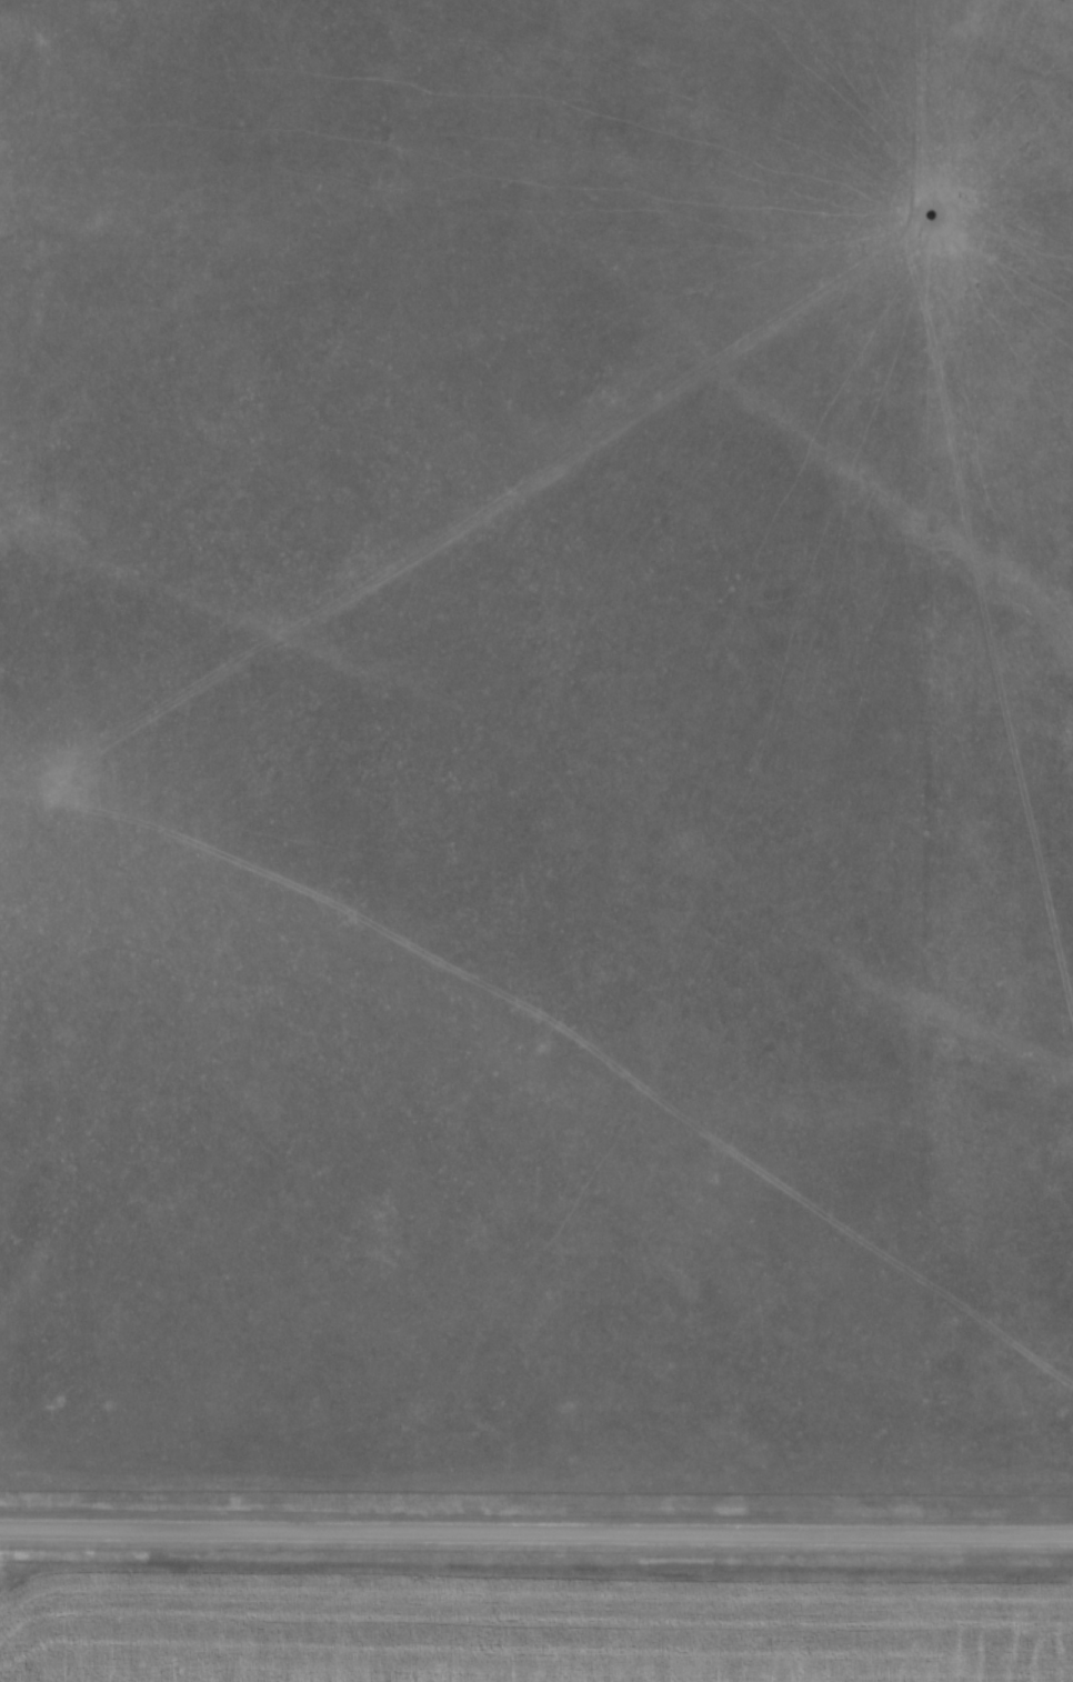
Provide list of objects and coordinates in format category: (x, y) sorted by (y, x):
road: (536, 1538)

